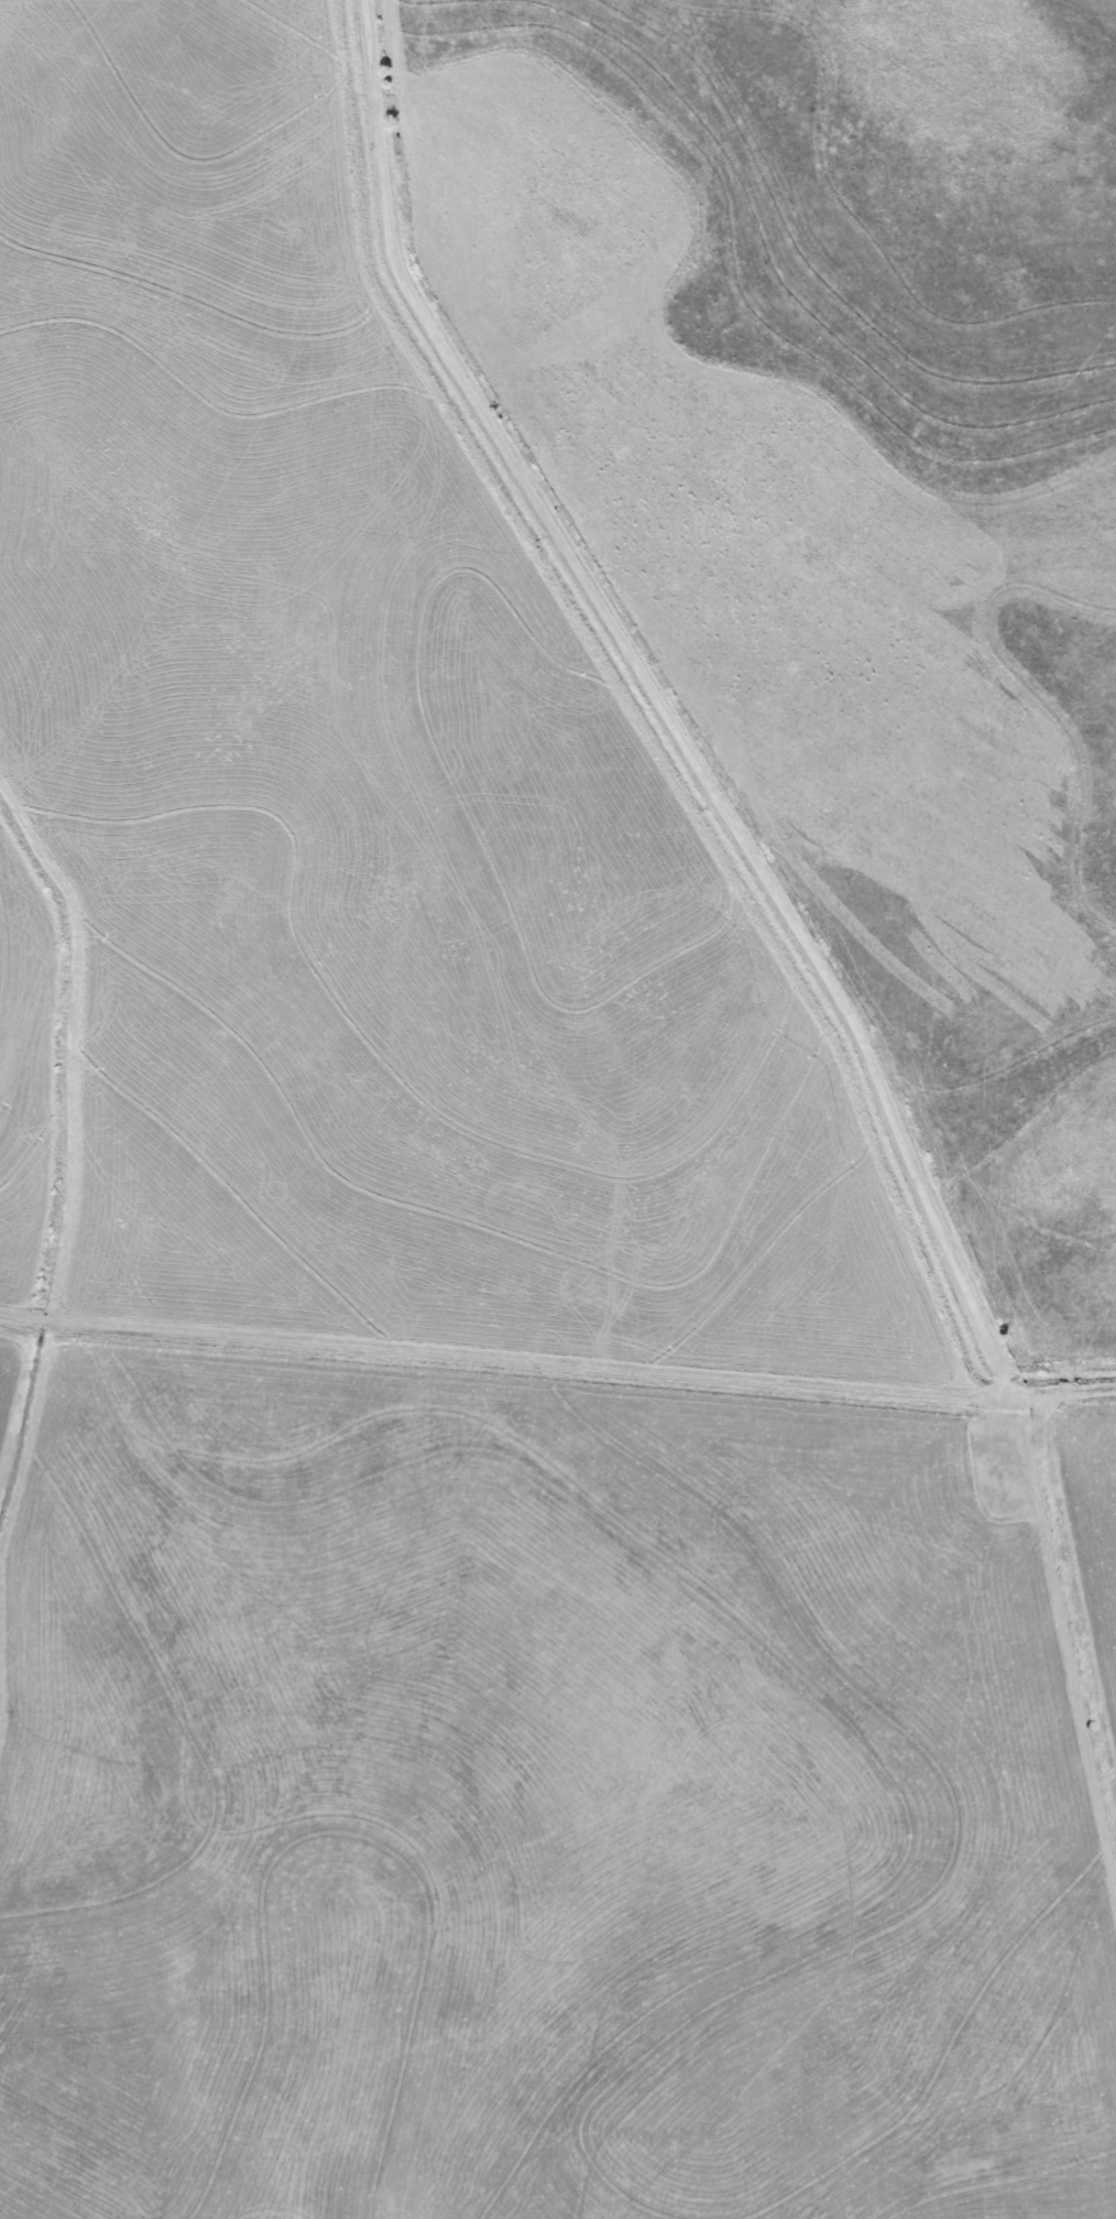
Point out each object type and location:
road: (362, 120)

